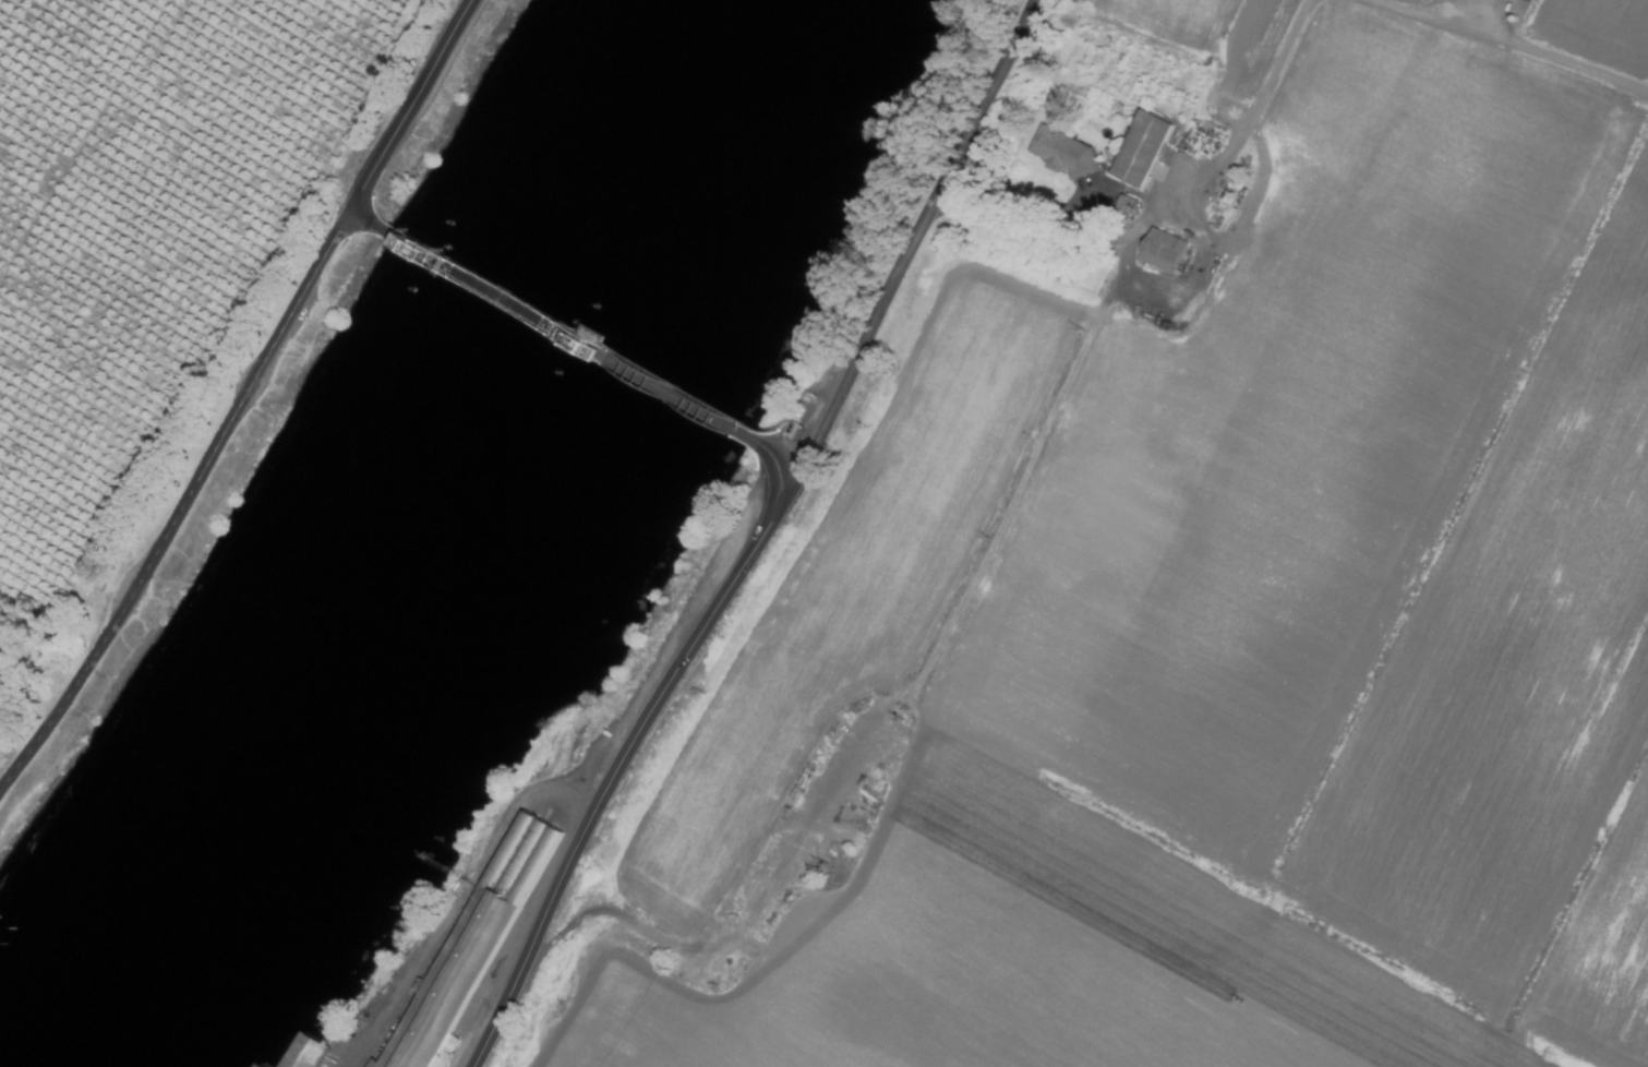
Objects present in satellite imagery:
road: (1508, 48)
road: (1264, 83)
road: (419, 107)
building: (1138, 149)
building: (1059, 151)
building: (1123, 205)
road: (369, 220)
road: (923, 232)
road: (1092, 238)
building: (1158, 251)
crop: (152, 265)
road: (572, 335)
road: (780, 453)
road: (188, 512)
river: (444, 562)
crop: (1176, 590)
road: (625, 759)
building: (302, 1053)
building: (256, 1065)

